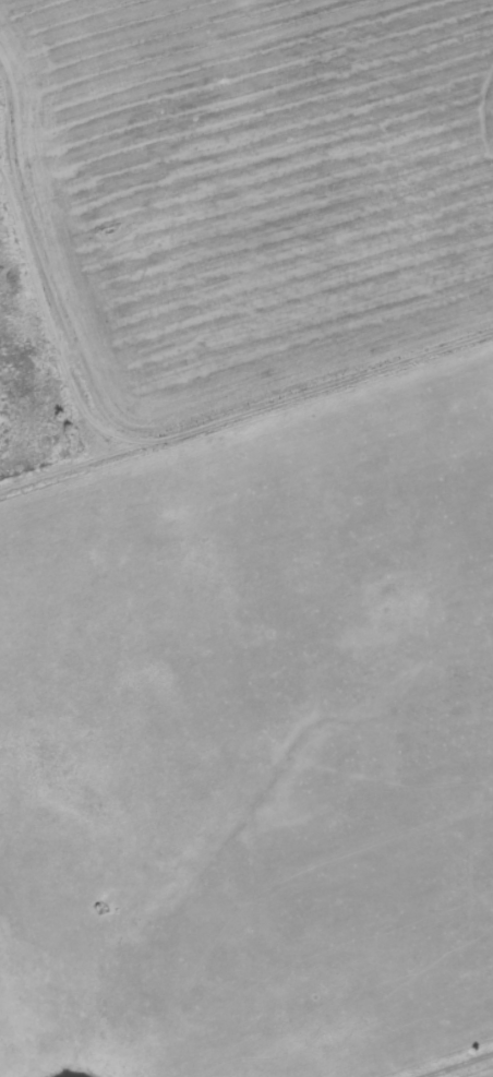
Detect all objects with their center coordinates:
road: (490, 1076)

